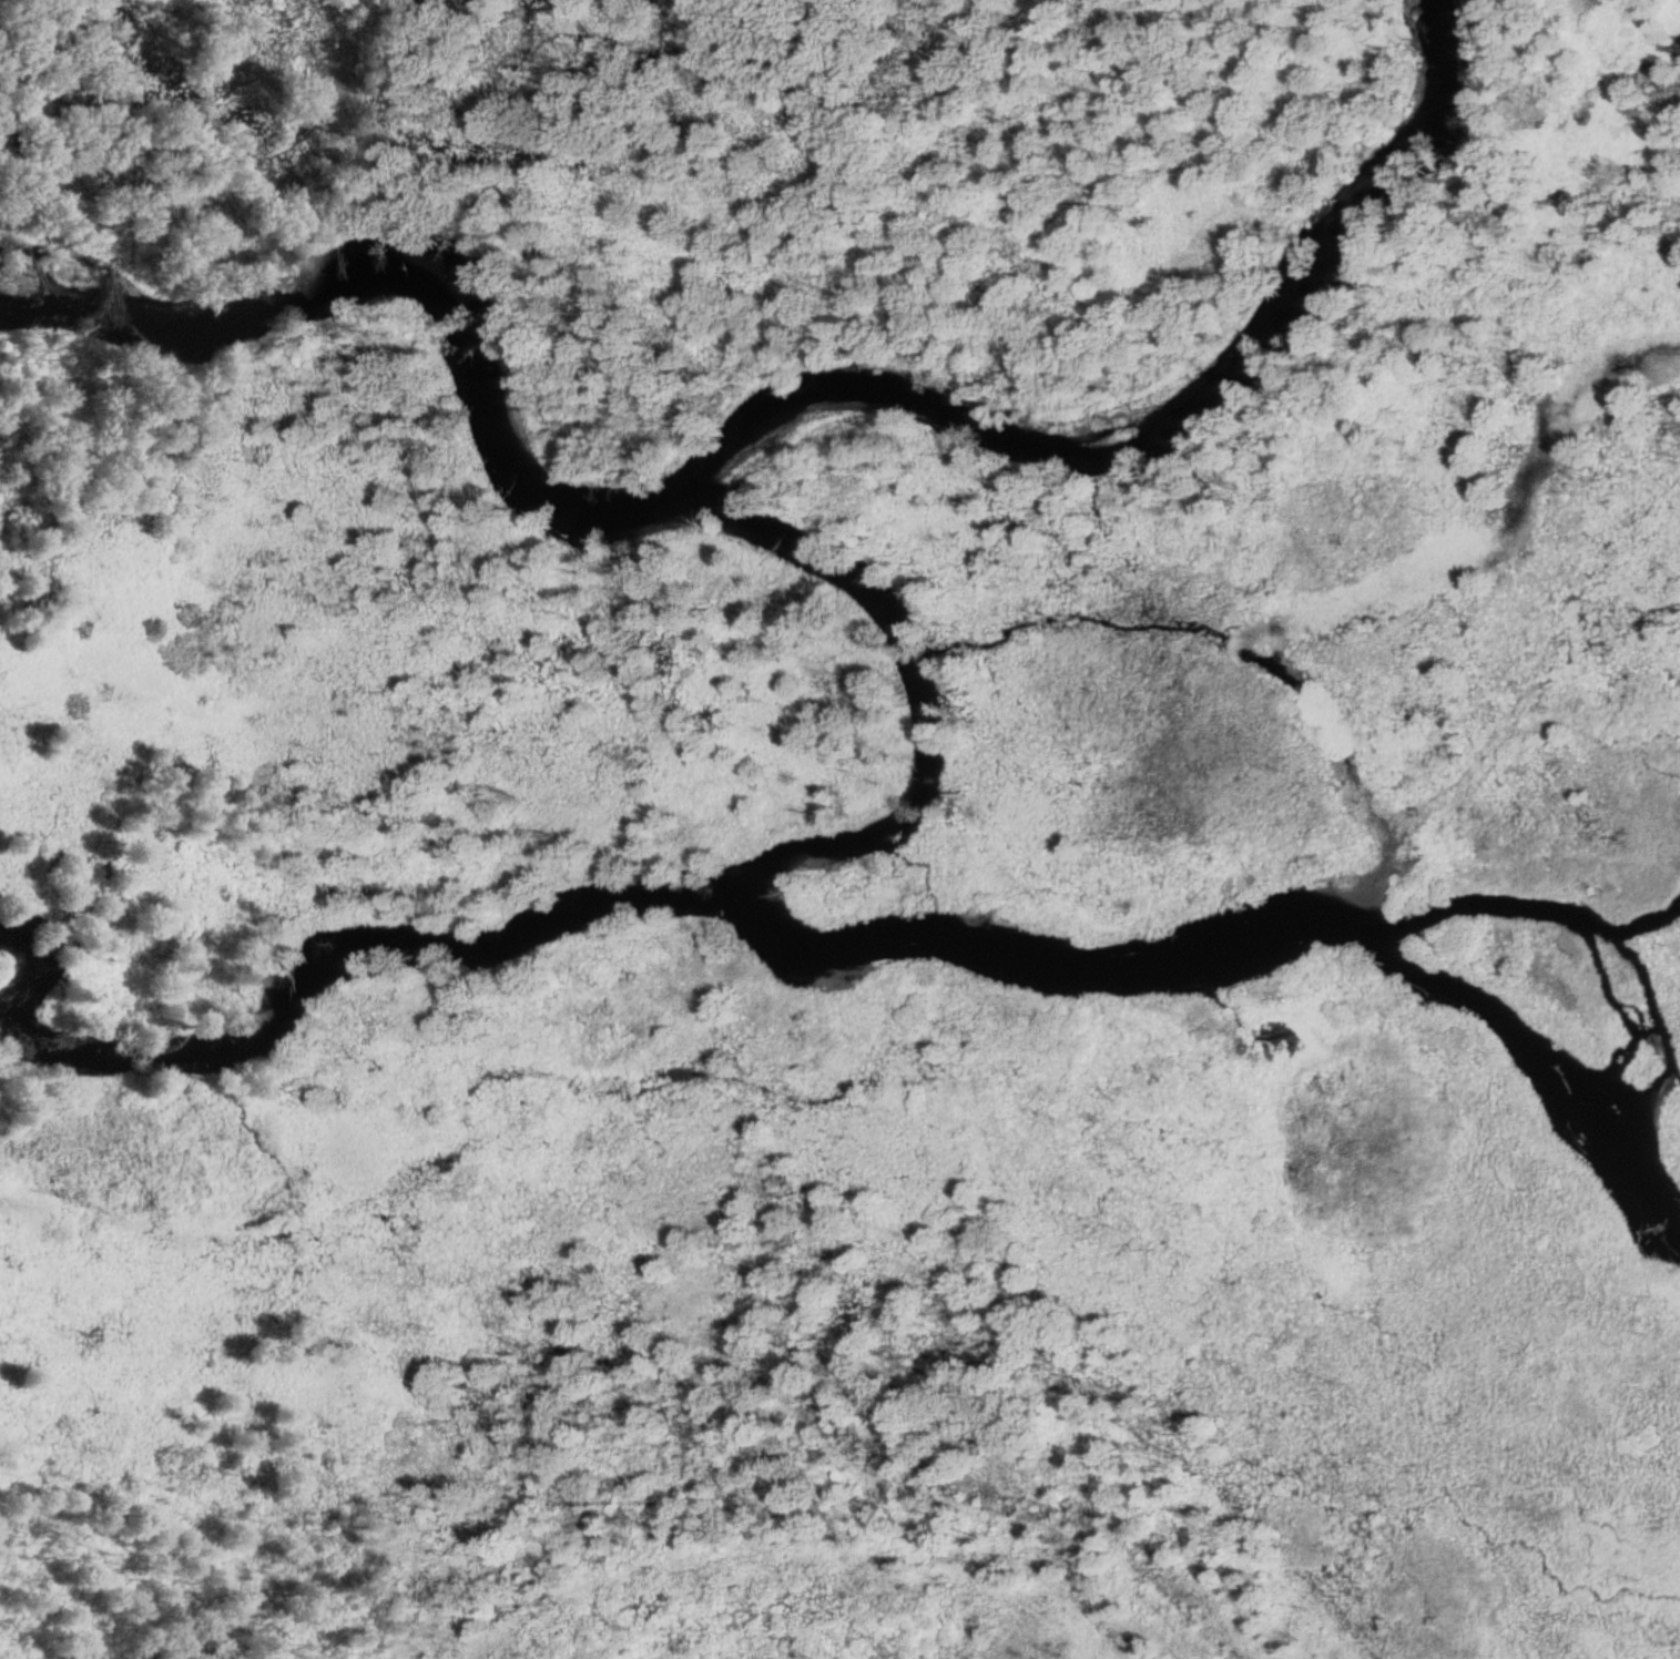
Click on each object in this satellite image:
river: (770, 440)

